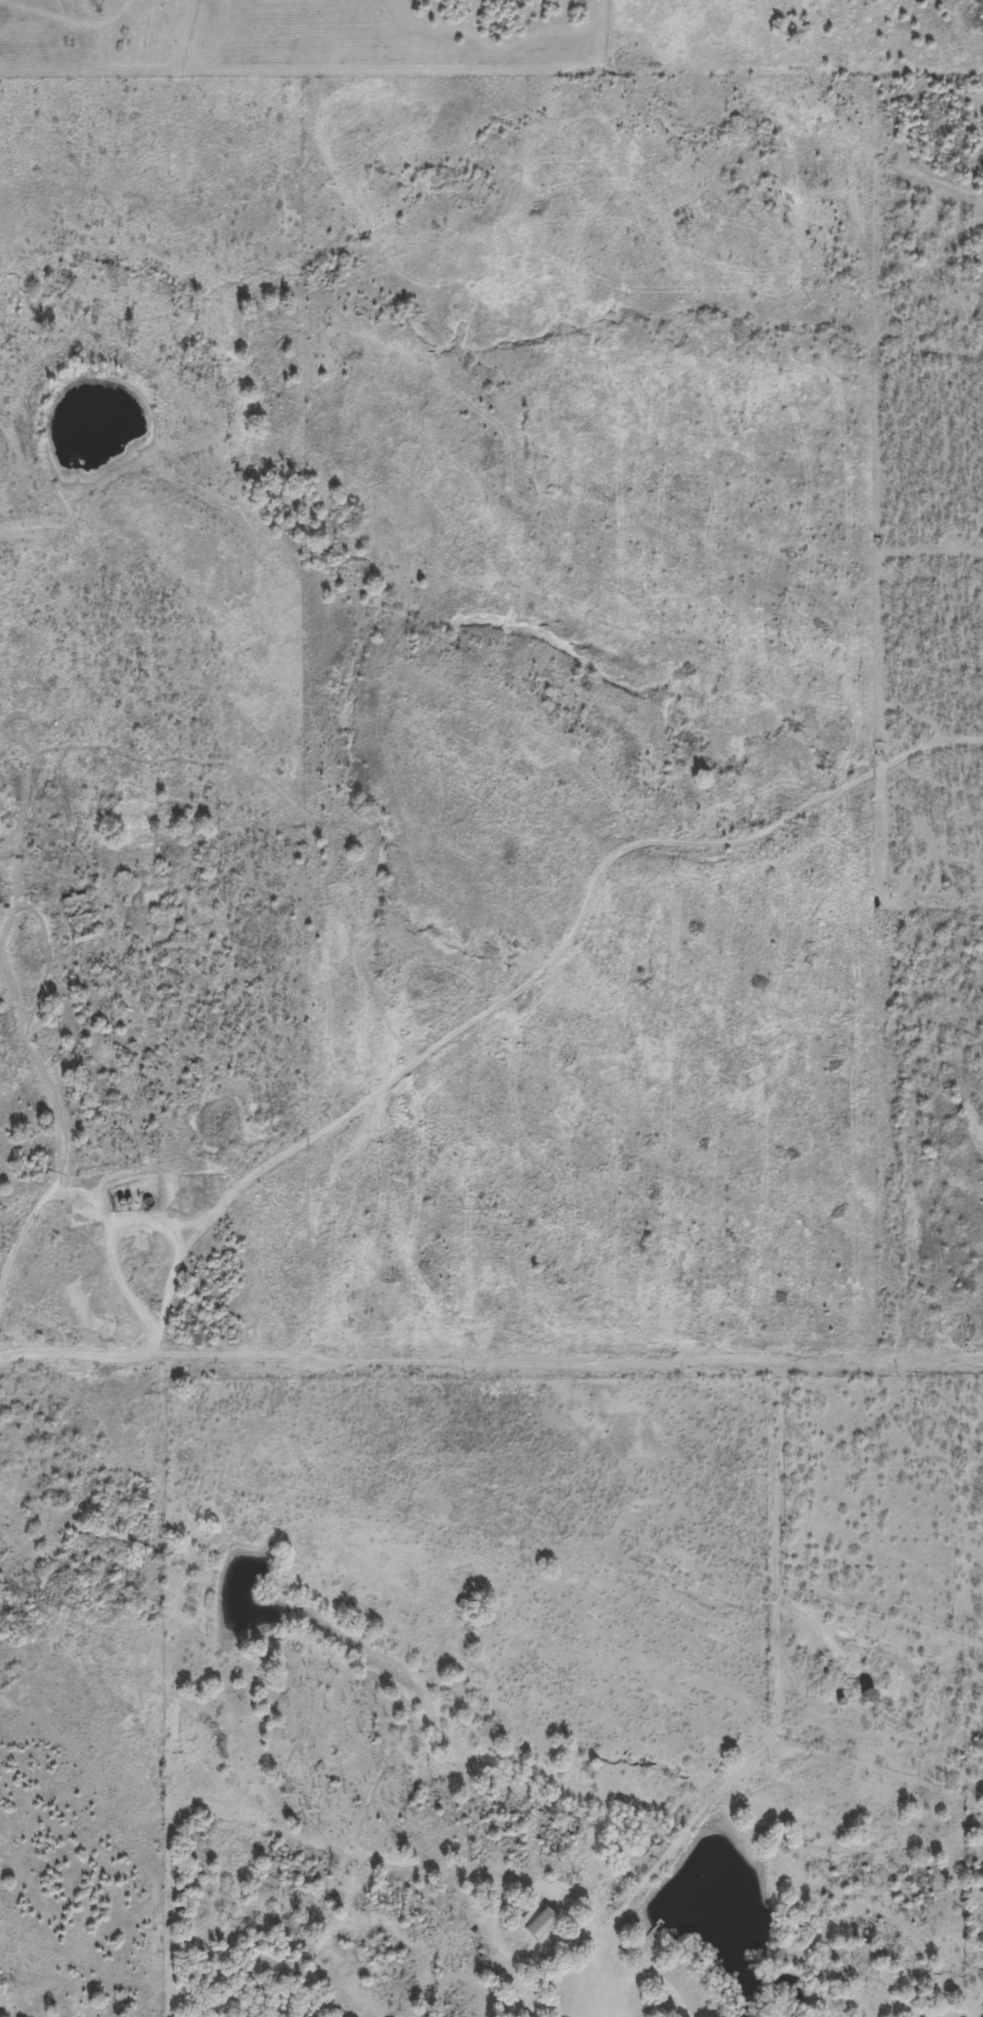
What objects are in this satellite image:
building: (867, 1695)
building: (541, 1921)

